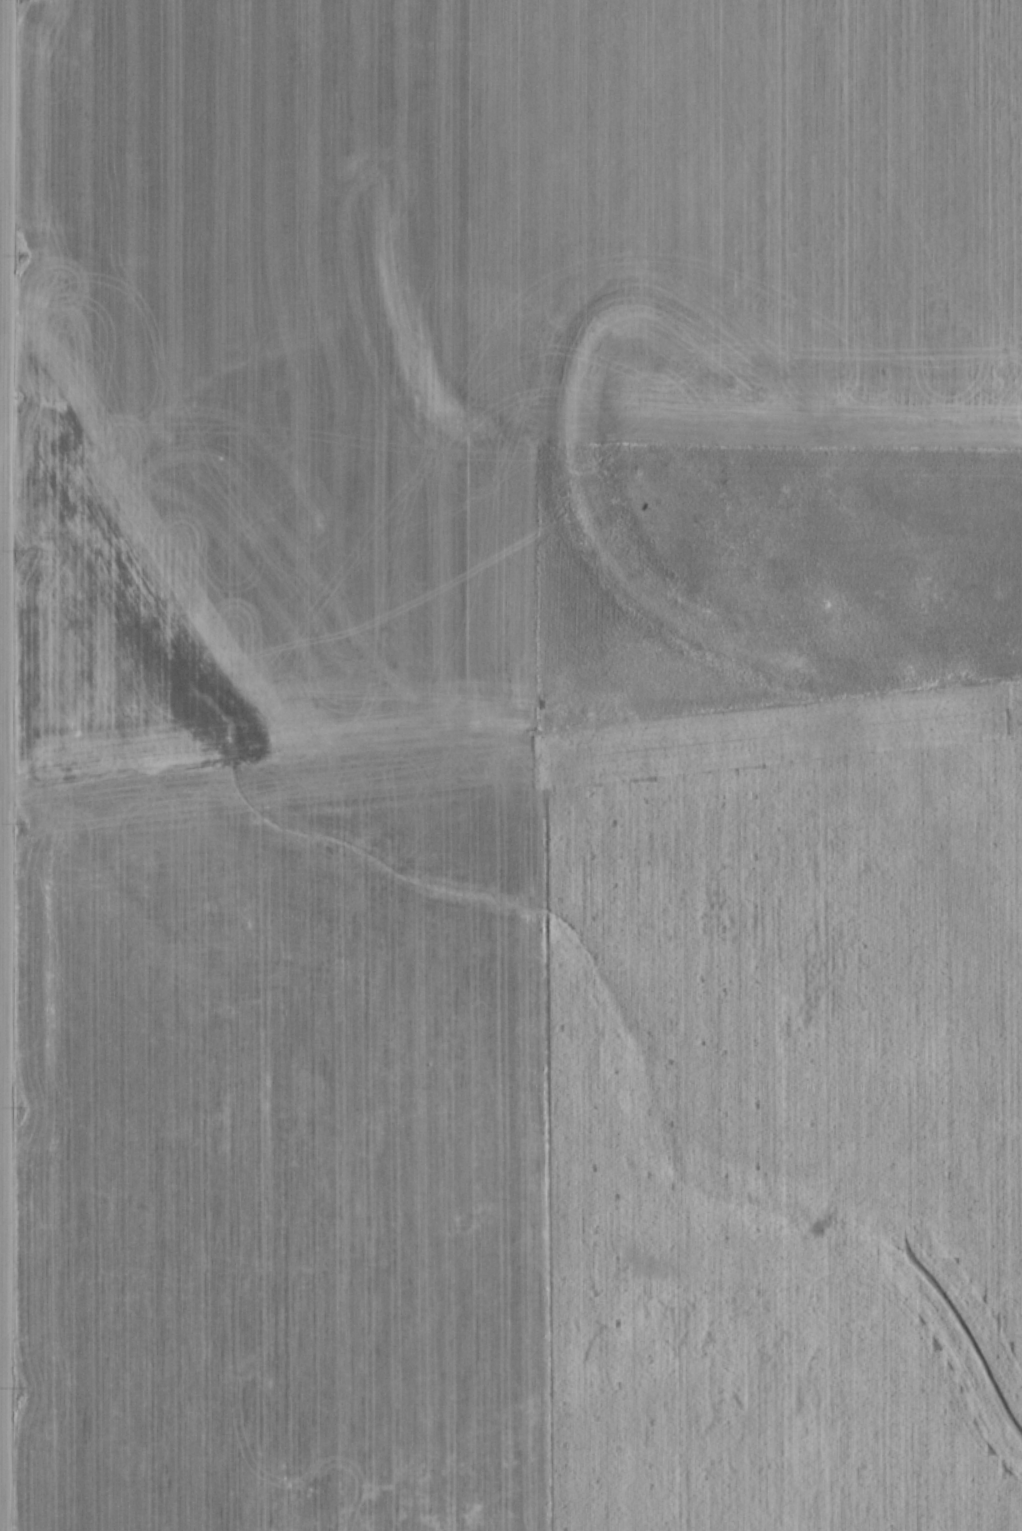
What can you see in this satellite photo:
road: (2, 552)

